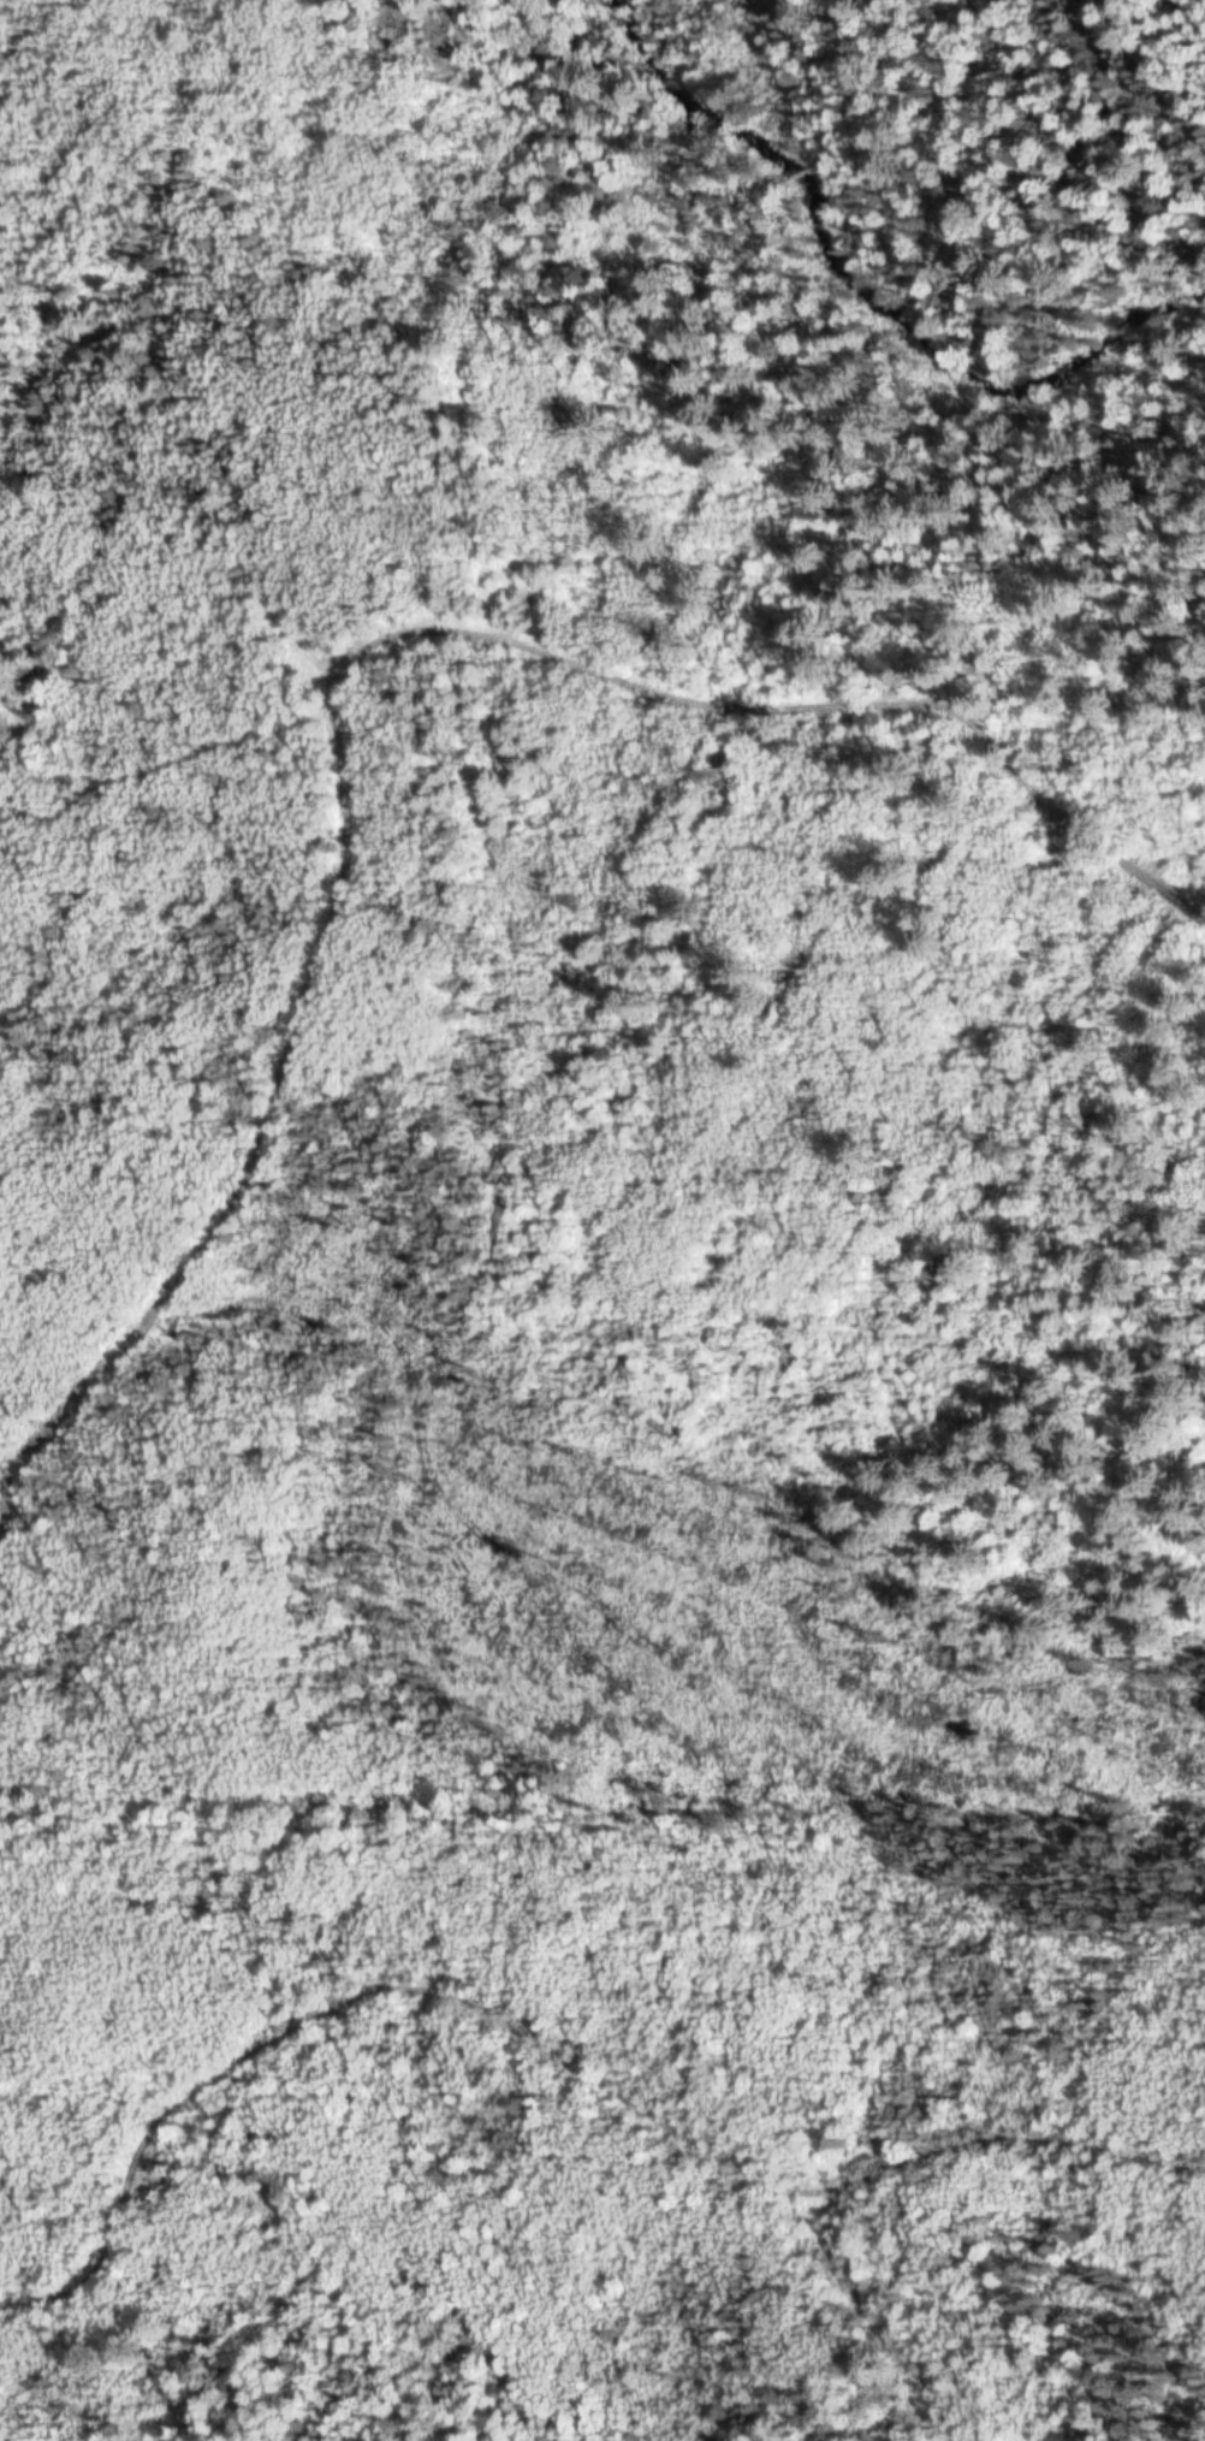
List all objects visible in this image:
road: (363, 2018)
road: (1010, 2137)

